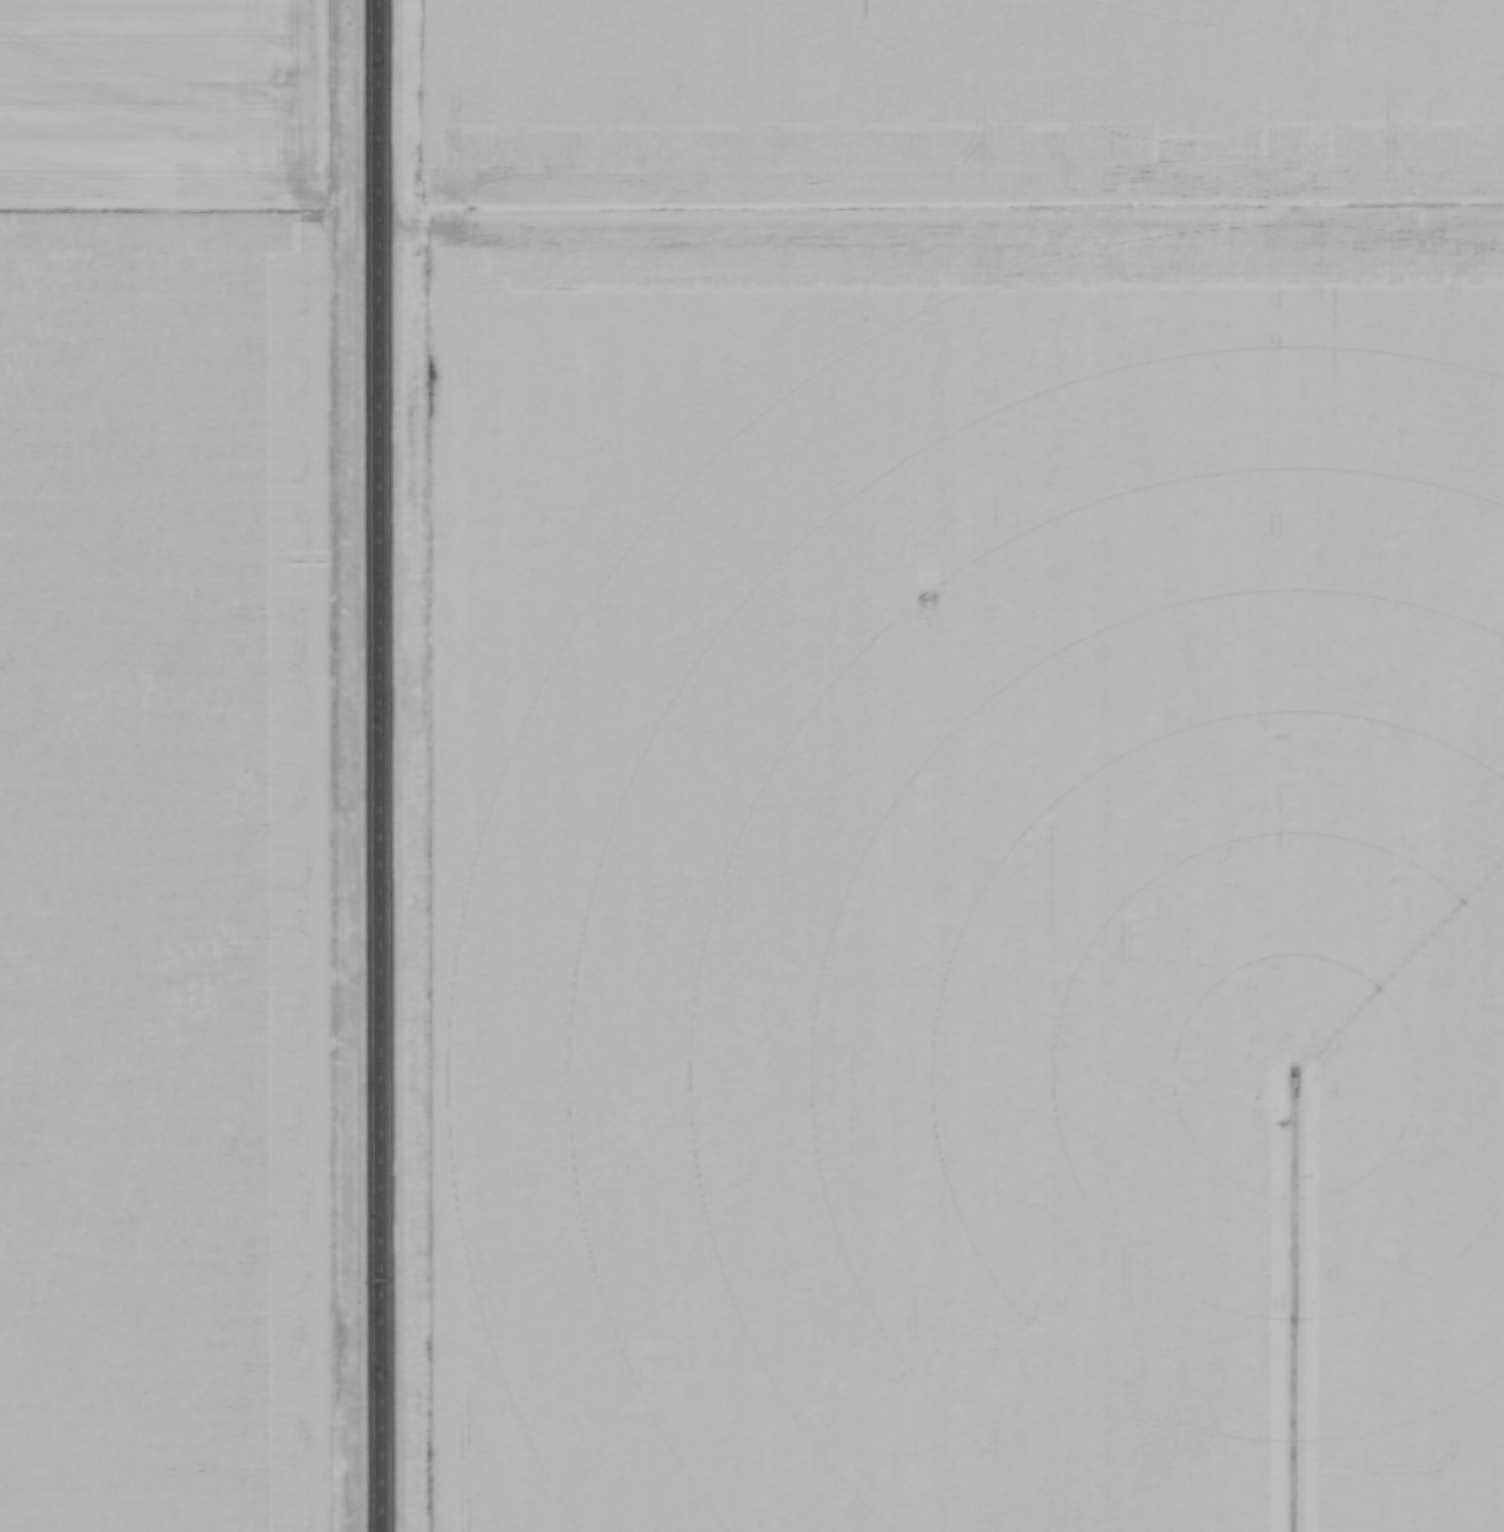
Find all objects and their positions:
road: (376, 765)
building: (373, 1237)

